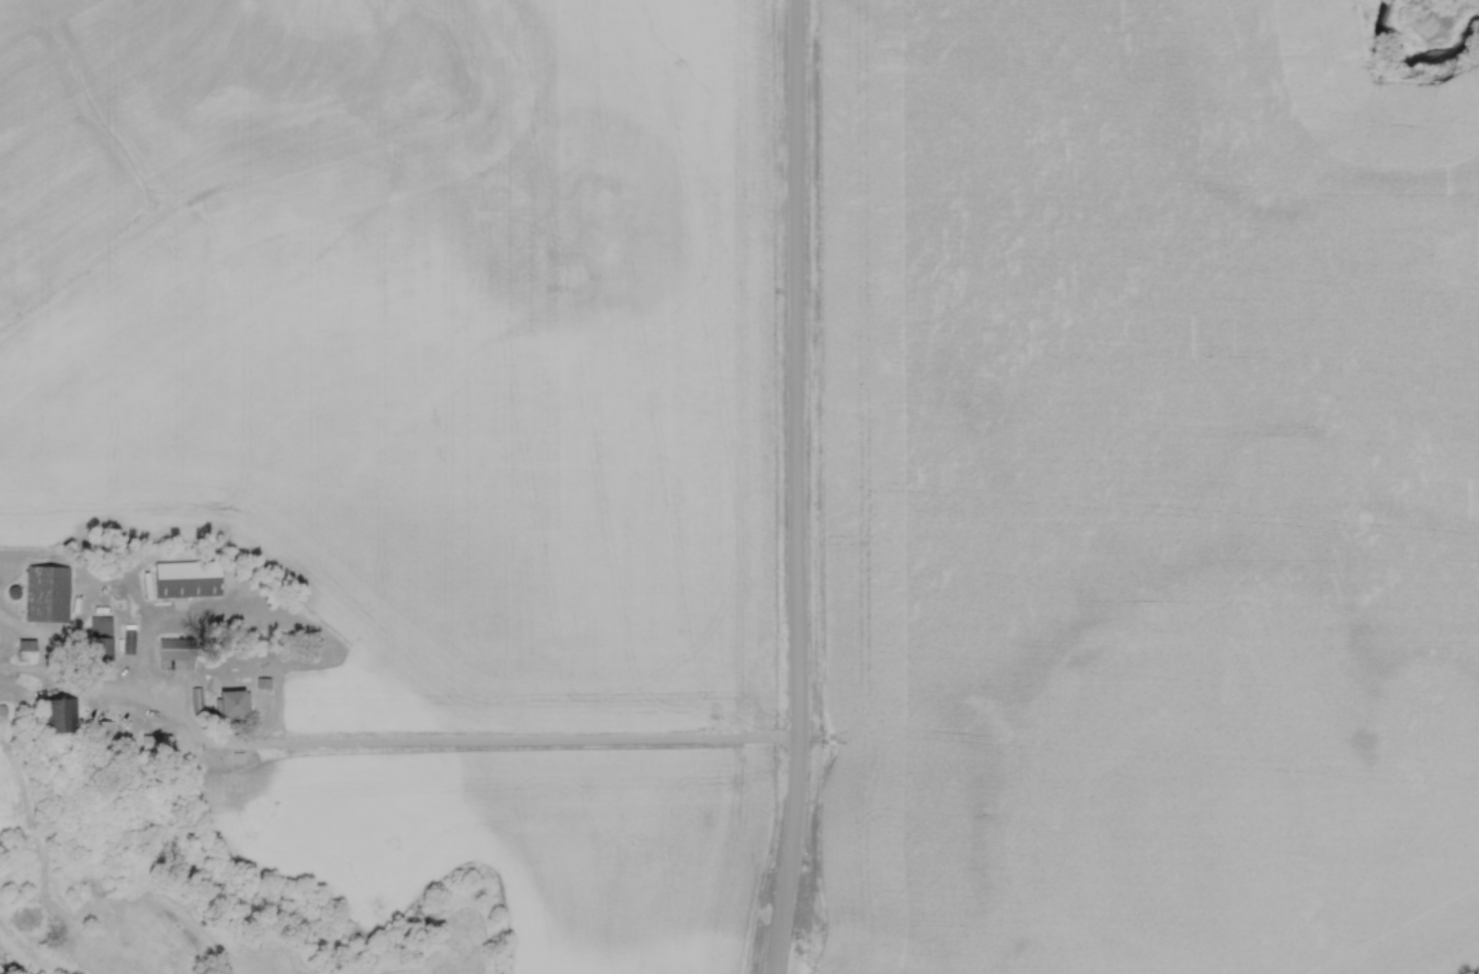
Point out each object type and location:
river: (1422, 37)
road: (798, 487)
building: (186, 581)
building: (12, 594)
building: (47, 595)
building: (99, 641)
building: (128, 643)
building: (175, 649)
building: (25, 652)
building: (232, 705)
building: (61, 716)
building: (101, 736)
road: (428, 738)
building: (155, 744)

